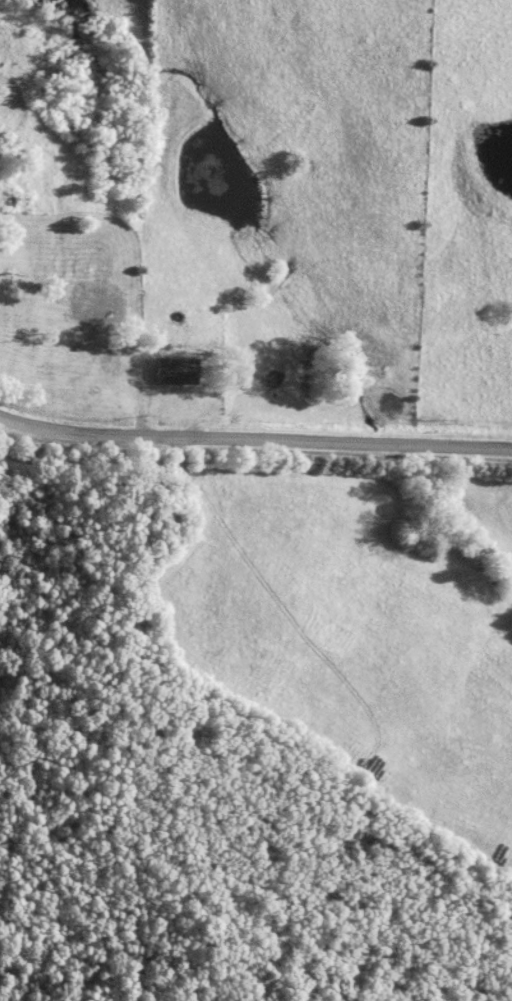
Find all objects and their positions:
building: (135, 365)
building: (107, 366)
building: (56, 370)
building: (175, 370)
road: (254, 440)

